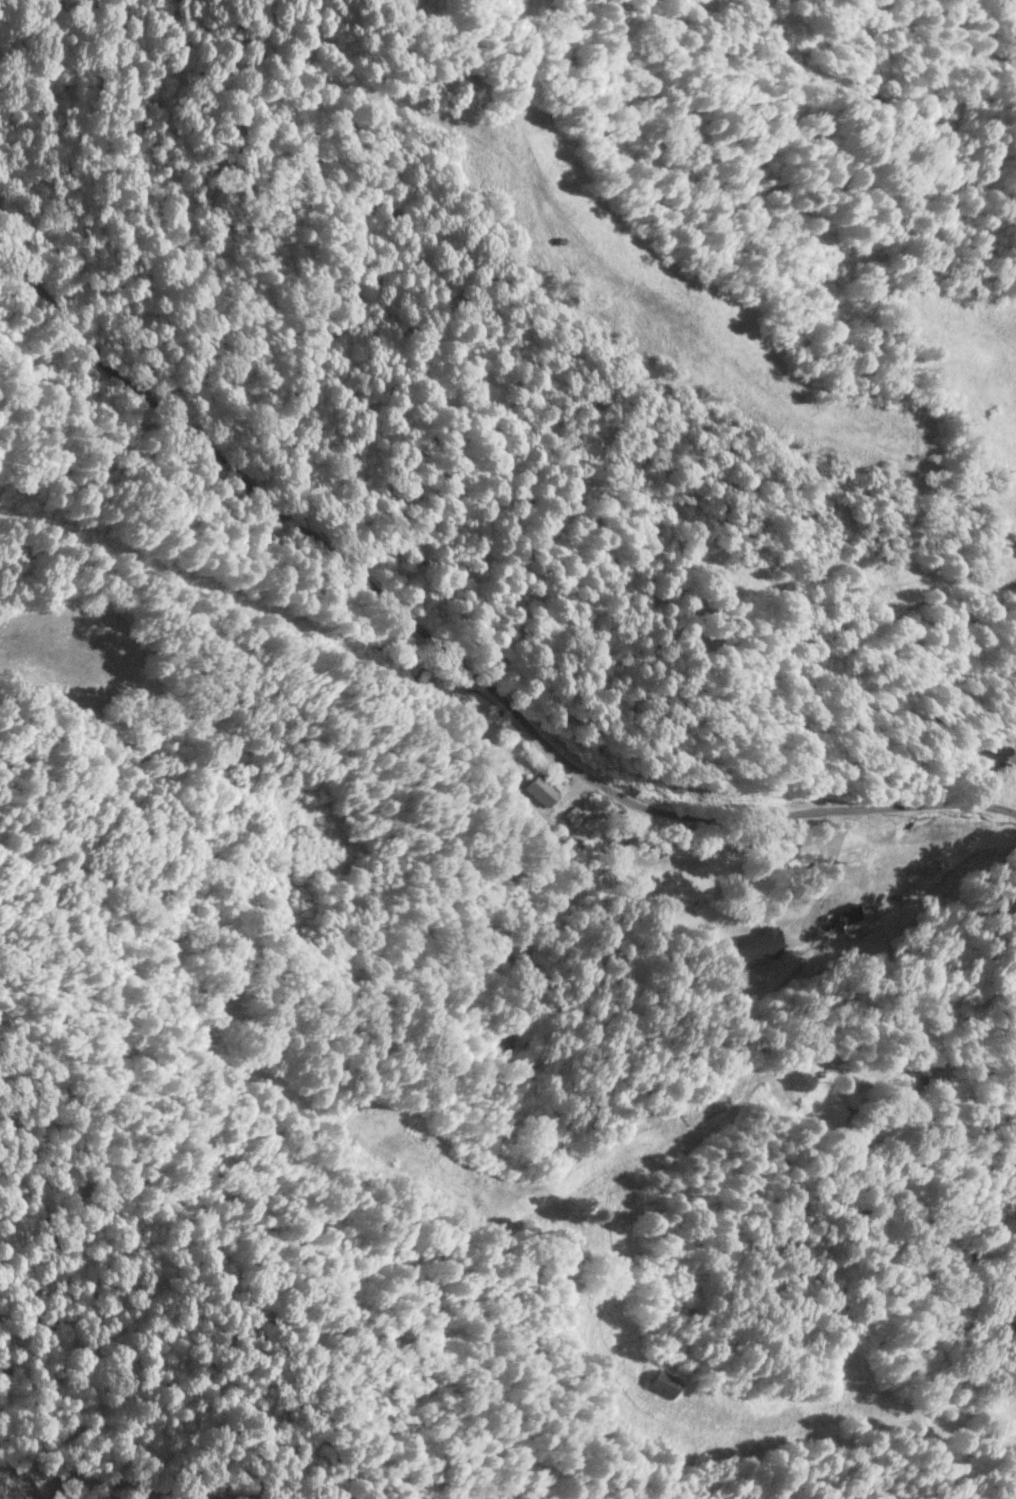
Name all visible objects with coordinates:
road: (460, 661)
building: (539, 791)
building: (759, 944)
road: (816, 1072)
building: (934, 1082)
building: (662, 1387)

